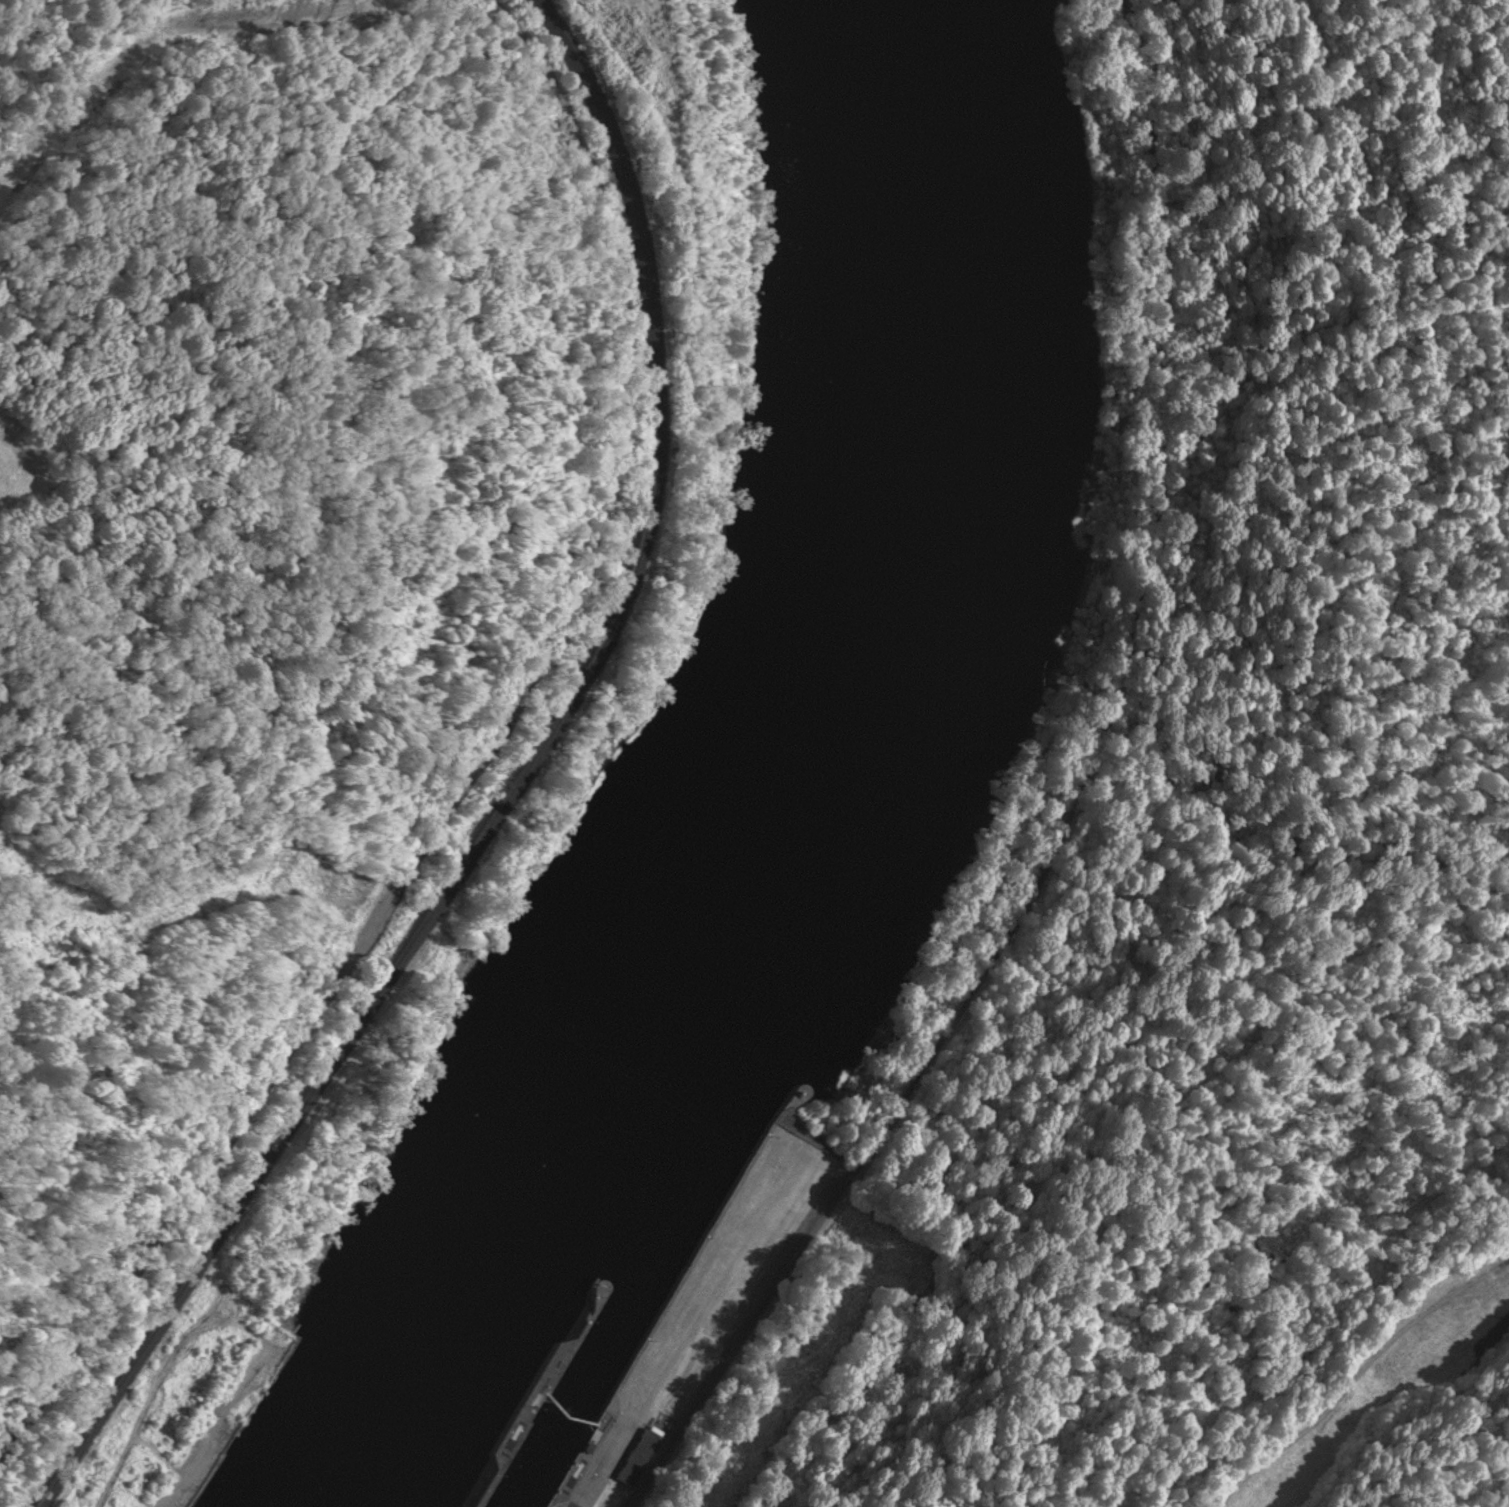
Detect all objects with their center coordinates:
river: (847, 733)
road: (465, 779)
railway: (510, 795)
road: (1071, 809)
road: (149, 1403)
road: (215, 1428)
building: (644, 1452)
river: (541, 1467)

